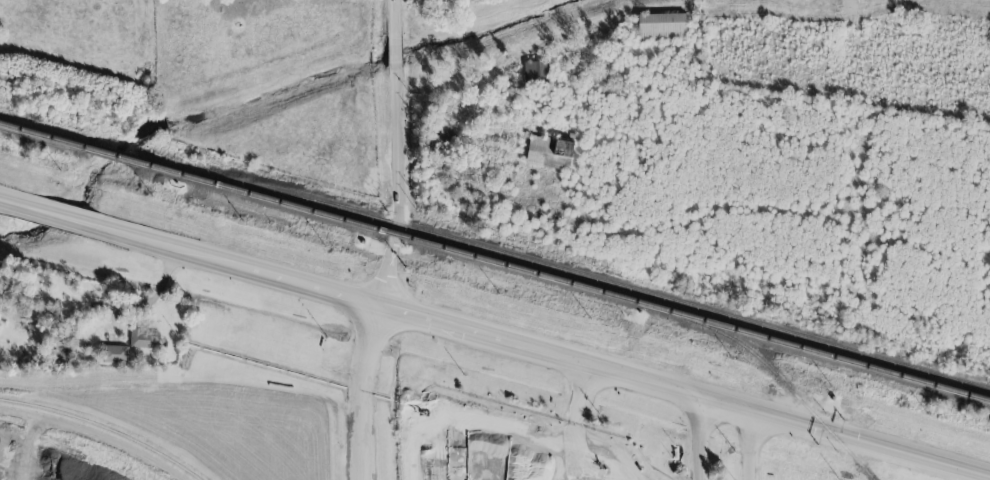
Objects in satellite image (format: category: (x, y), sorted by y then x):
building: (661, 28)
building: (535, 72)
building: (549, 154)
road: (403, 155)
railway: (495, 260)
railway: (601, 281)
building: (144, 339)
road: (494, 341)
building: (115, 355)
railway: (767, 370)
road: (363, 392)
railway: (101, 429)
road: (698, 438)
road: (573, 439)
road: (749, 446)
railway: (402, 448)

